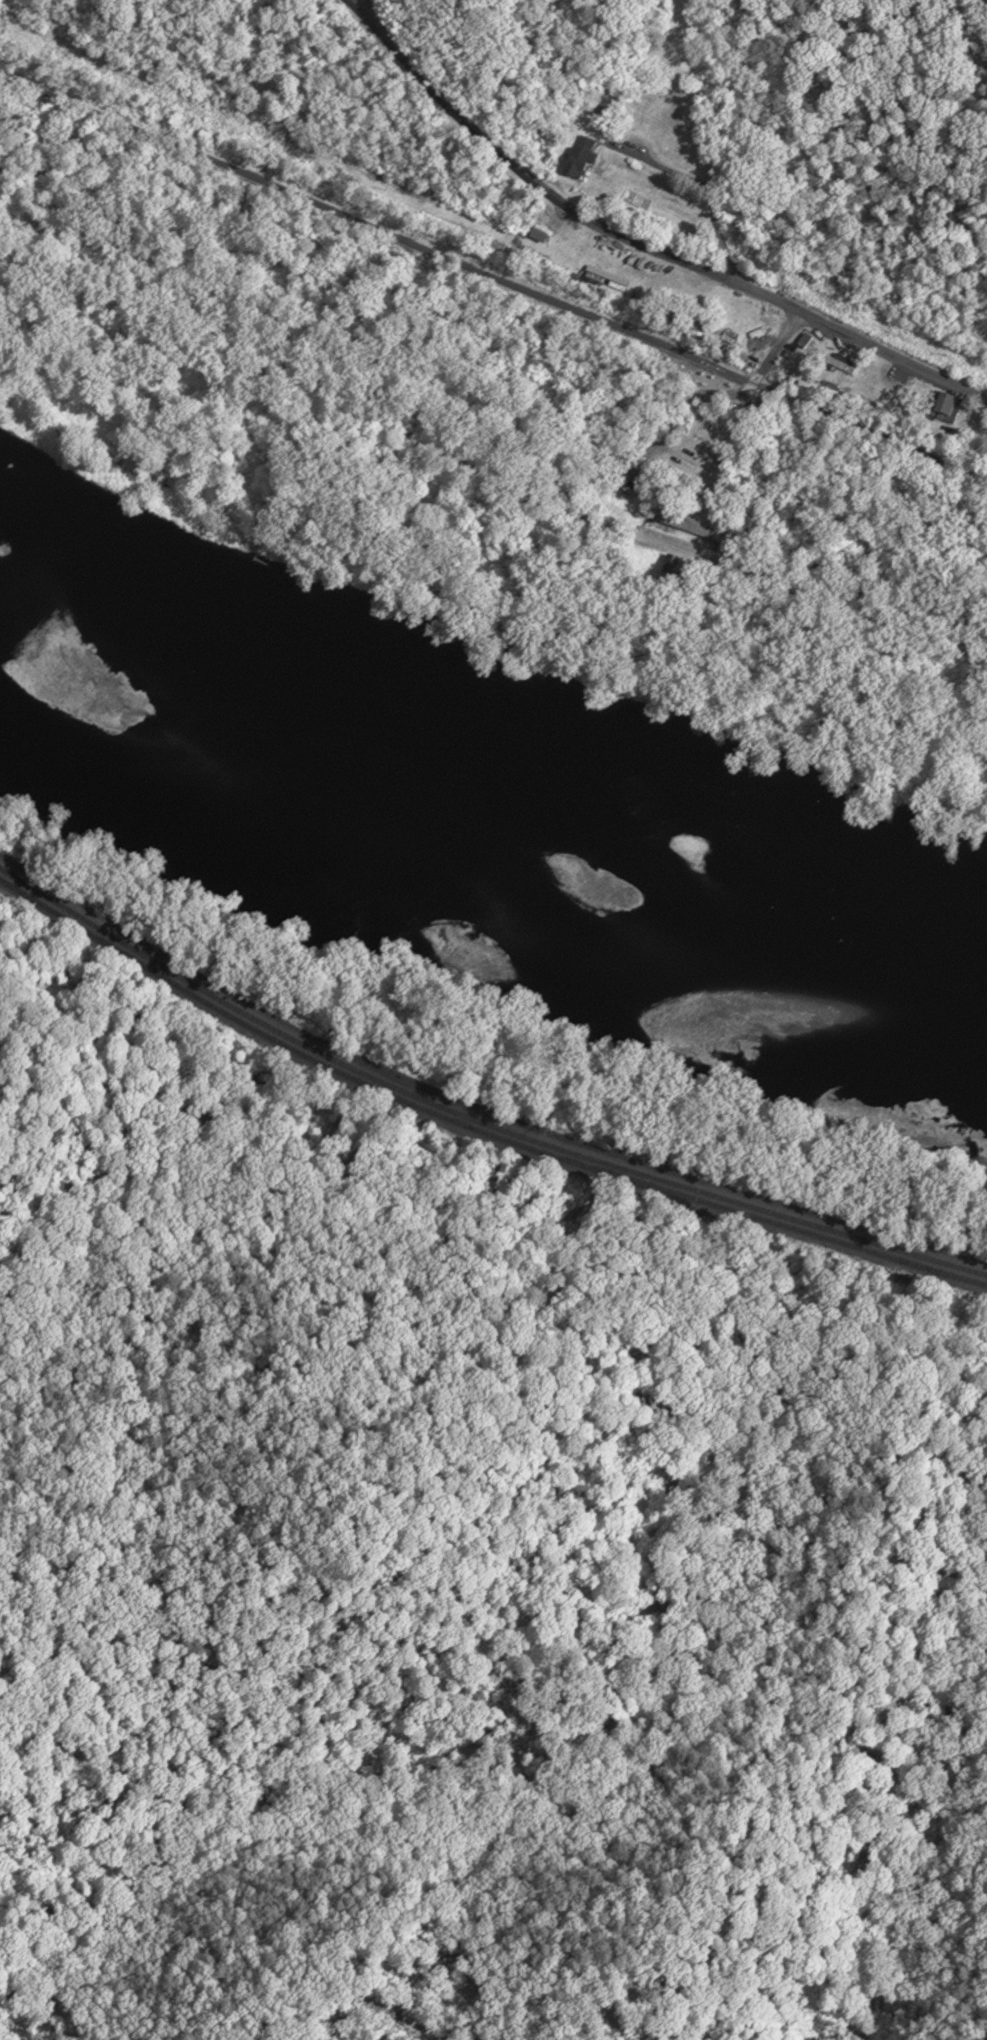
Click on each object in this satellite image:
building: (584, 157)
road: (638, 243)
park: (465, 266)
road: (493, 276)
building: (842, 360)
road: (718, 394)
building: (945, 404)
building: (711, 432)
road: (468, 468)
road: (598, 496)
building: (670, 568)
river: (492, 827)
road: (472, 1111)
railway: (473, 1119)
railway: (473, 1129)

